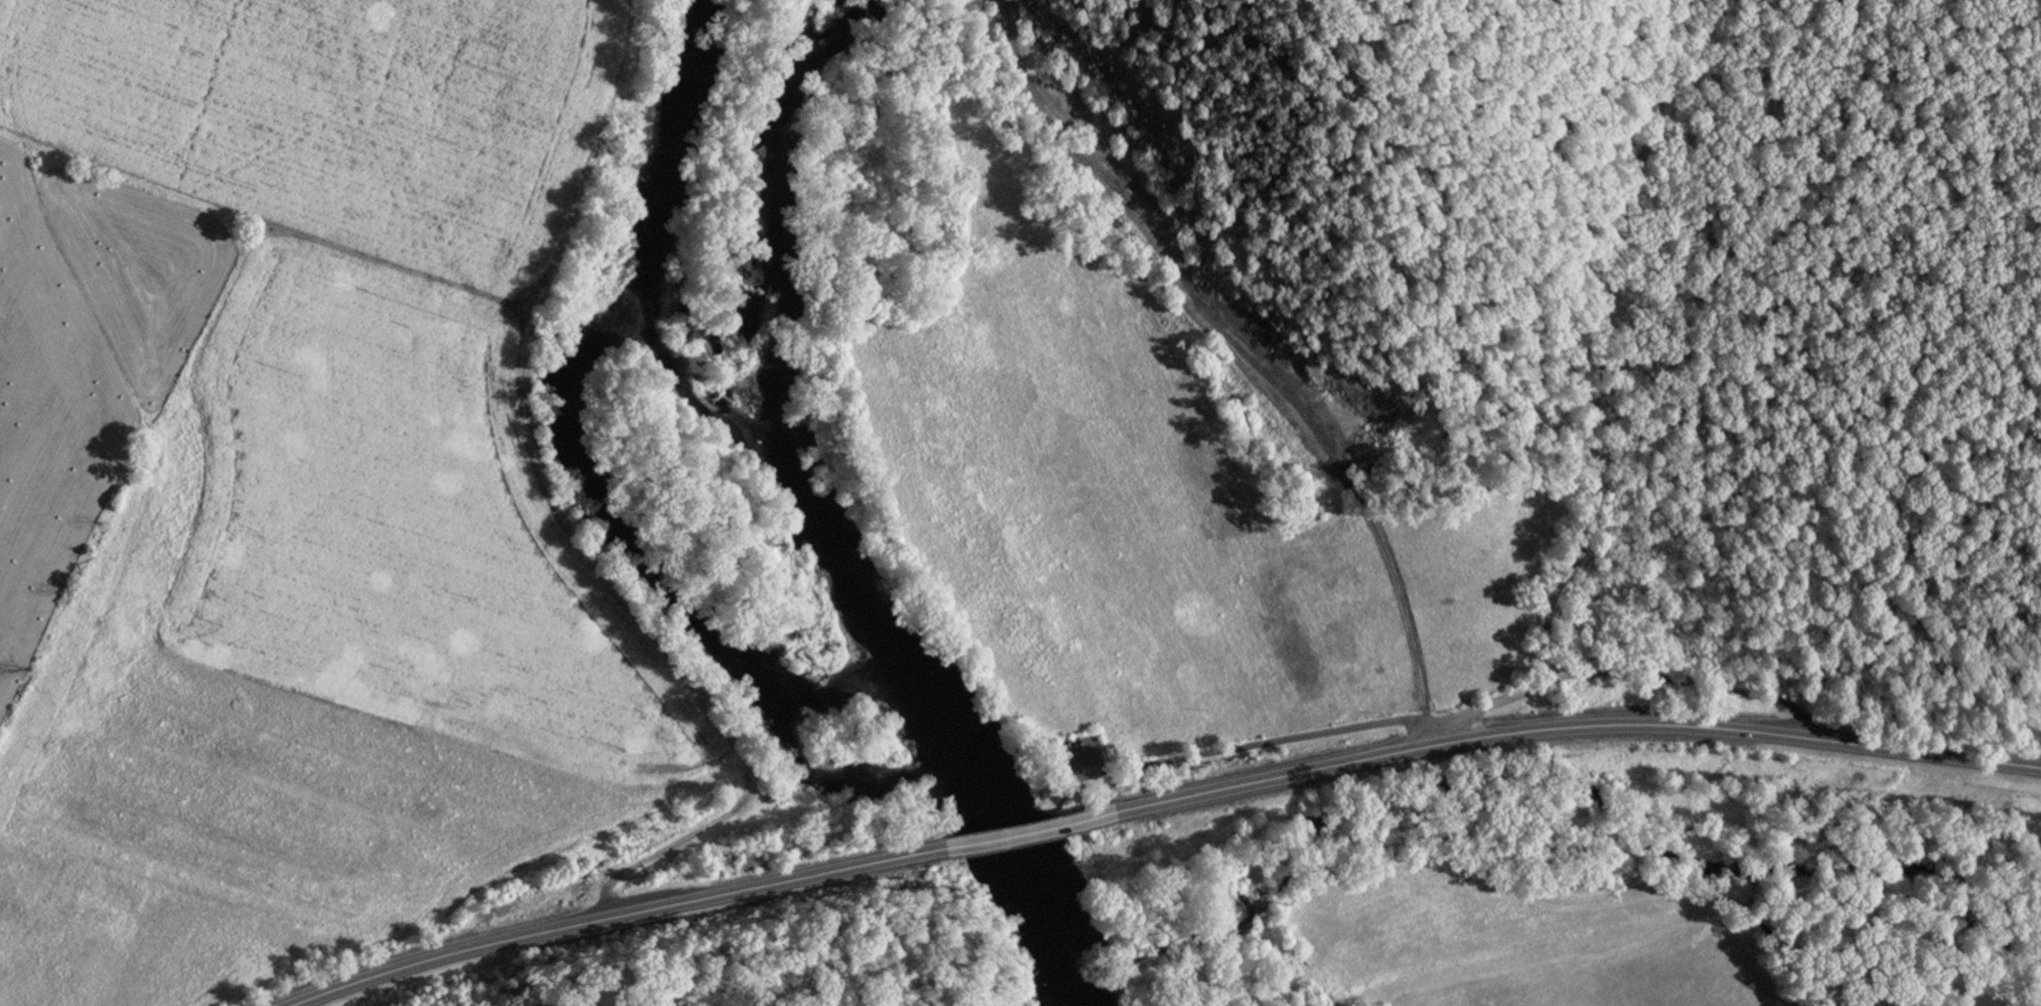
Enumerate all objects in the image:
road: (1595, 396)
road: (1344, 452)
river: (808, 522)
road: (1703, 683)
road: (1564, 728)
road: (1014, 833)
building: (750, 860)
road: (614, 915)
crop: (1516, 944)

